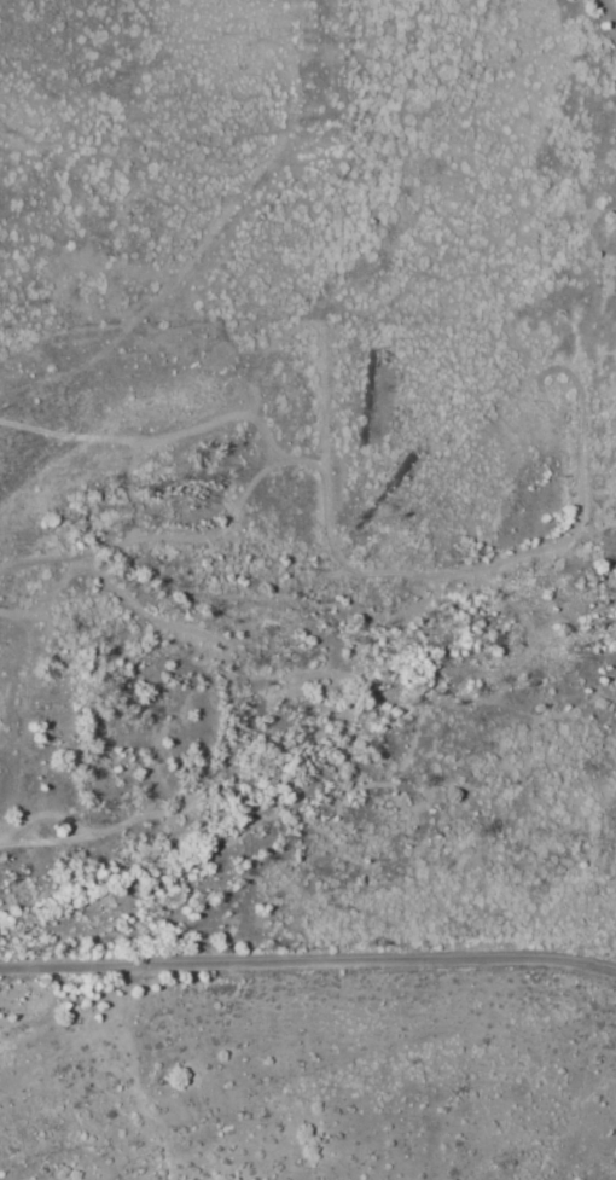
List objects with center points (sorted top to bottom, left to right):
road: (609, 16)
road: (308, 972)

